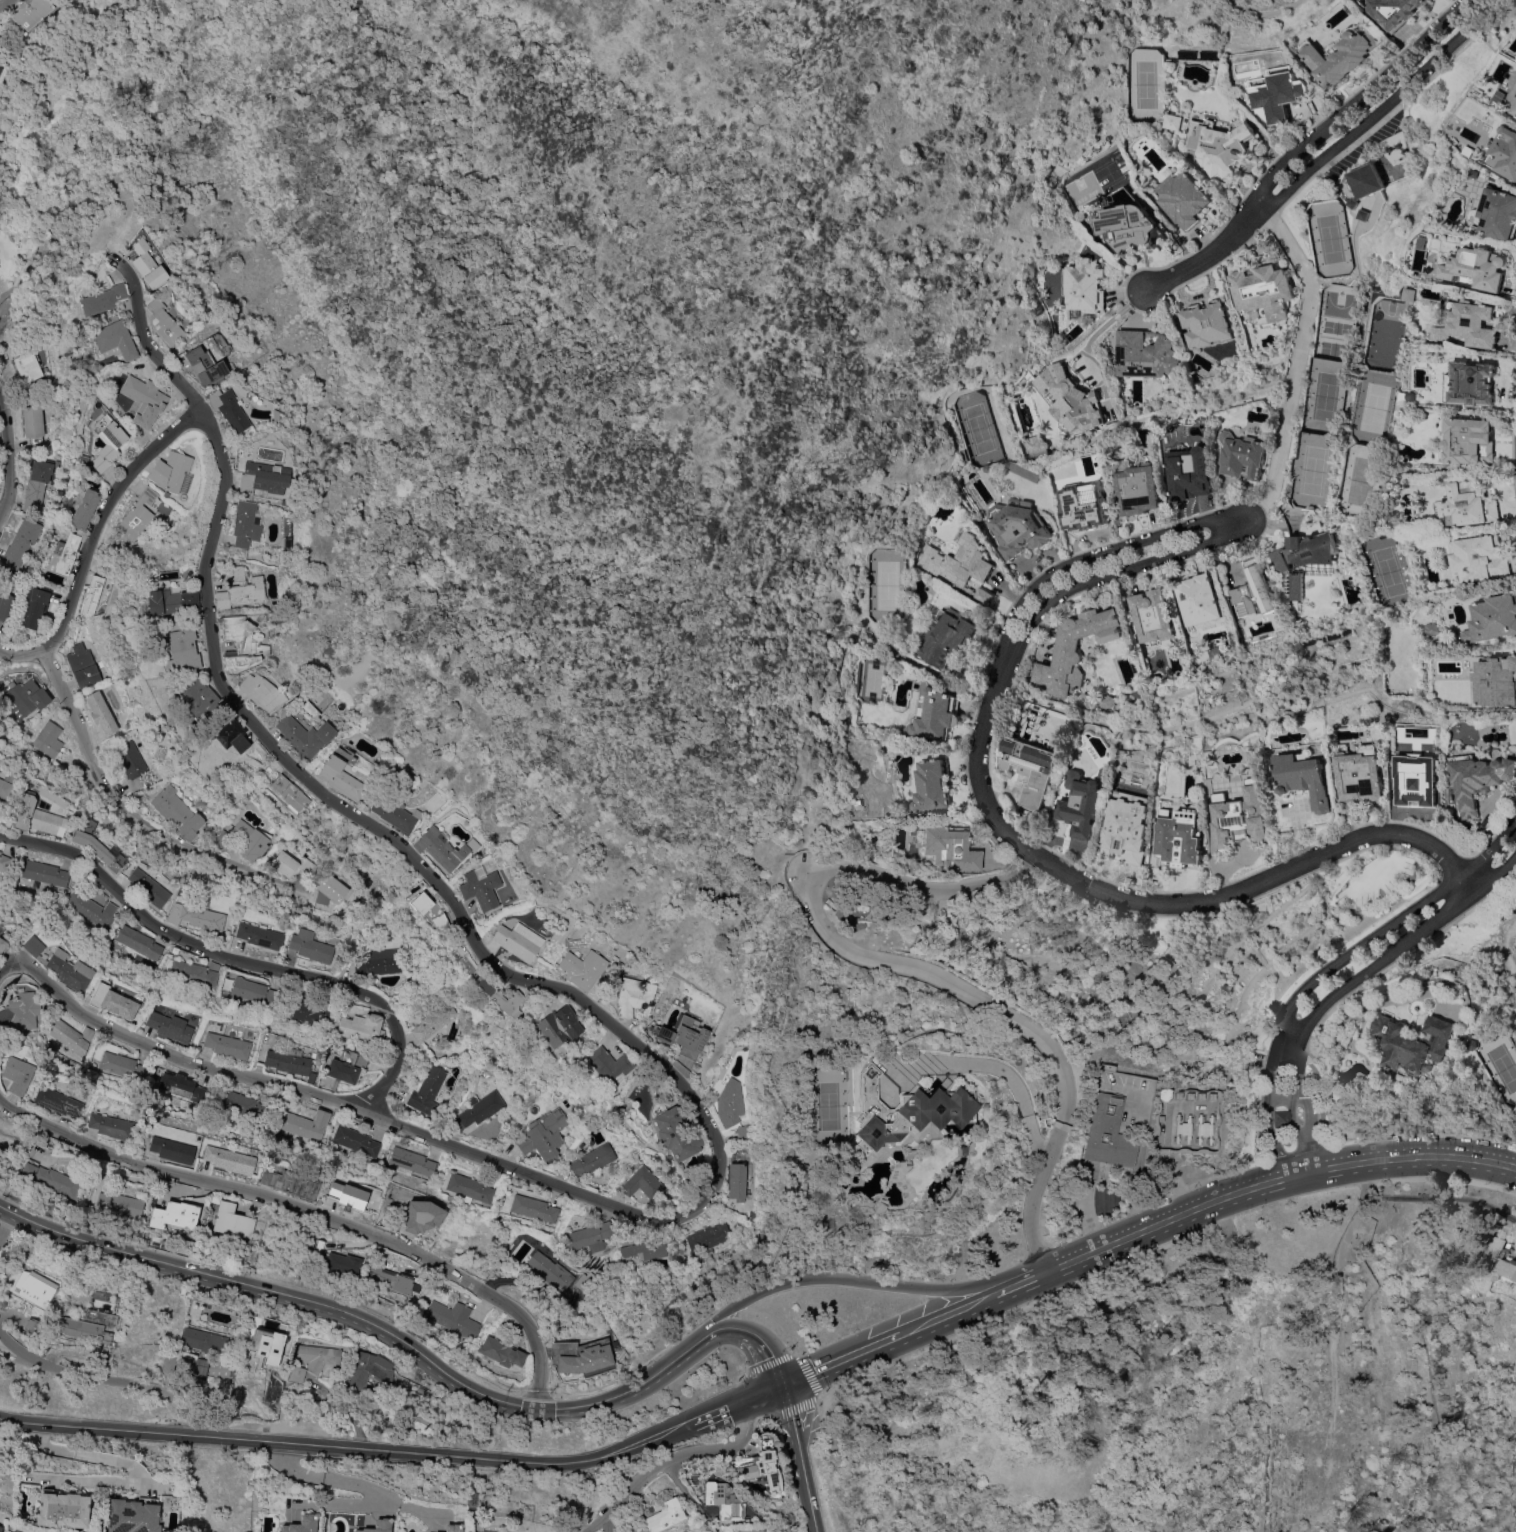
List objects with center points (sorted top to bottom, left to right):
road: (3, 3)
building: (1393, 10)
building: (31, 11)
building: (1339, 56)
building: (1277, 94)
road: (1356, 97)
building: (1515, 104)
road: (1382, 107)
building: (1515, 112)
building: (1173, 122)
building: (1218, 146)
building: (1506, 151)
building: (1367, 181)
building: (1182, 197)
building: (1355, 203)
building: (1499, 213)
building: (1365, 215)
building: (1130, 228)
road: (1205, 257)
building: (146, 264)
building: (1482, 267)
building: (1082, 287)
building: (1263, 290)
building: (1415, 294)
building: (101, 299)
road: (4, 313)
building: (163, 322)
building: (1205, 324)
building: (1473, 325)
road: (1105, 327)
building: (113, 340)
building: (1144, 356)
road: (1297, 359)
building: (200, 364)
building: (26, 366)
building: (1473, 384)
building: (139, 396)
building: (1066, 398)
building: (227, 408)
building: (274, 414)
building: (33, 424)
building: (106, 440)
building: (1470, 441)
building: (1032, 446)
road: (8, 452)
building: (963, 456)
building: (1243, 456)
building: (172, 472)
building: (1189, 473)
building: (263, 477)
building: (37, 484)
building: (1137, 486)
building: (283, 502)
building: (1469, 505)
building: (1082, 506)
building: (83, 509)
building: (138, 513)
building: (245, 523)
building: (1017, 526)
road: (94, 537)
building: (21, 542)
building: (1304, 552)
building: (66, 553)
road: (1097, 553)
building: (1481, 558)
building: (959, 565)
road: (1113, 573)
building: (240, 588)
building: (1254, 590)
building: (92, 596)
building: (1199, 600)
building: (168, 602)
building: (6, 605)
building: (34, 605)
building: (1153, 618)
building: (1492, 619)
building: (881, 626)
building: (1430, 629)
building: (946, 636)
building: (241, 643)
building: (182, 650)
building: (1075, 650)
building: (82, 665)
building: (1495, 681)
building: (1395, 690)
building: (262, 692)
building: (193, 696)
building: (27, 697)
building: (1104, 701)
building: (212, 706)
building: (100, 712)
building: (933, 714)
building: (1137, 714)
building: (304, 735)
building: (230, 736)
building: (48, 738)
building: (1253, 755)
building: (131, 763)
building: (79, 769)
building: (1031, 769)
building: (1361, 773)
building: (340, 777)
building: (1306, 778)
building: (1478, 779)
building: (1404, 784)
building: (931, 785)
building: (5, 789)
building: (288, 792)
building: (1081, 804)
building: (177, 812)
building: (395, 813)
building: (37, 816)
building: (1241, 816)
road: (134, 817)
building: (1127, 827)
road: (805, 828)
building: (1180, 837)
building: (246, 839)
building: (949, 847)
building: (443, 848)
building: (99, 849)
building: (0, 851)
building: (490, 863)
building: (292, 864)
building: (7, 865)
building: (45, 873)
building: (149, 887)
building: (481, 887)
building: (331, 889)
road: (1156, 902)
building: (427, 911)
building: (93, 912)
building: (198, 916)
building: (1, 930)
building: (260, 935)
building: (519, 940)
road: (836, 941)
building: (140, 942)
building: (3, 945)
building: (311, 945)
road: (238, 959)
building: (386, 960)
road: (1381, 961)
building: (360, 964)
building: (62, 966)
road: (1332, 966)
building: (583, 968)
building: (195, 972)
building: (251, 992)
building: (634, 995)
building: (499, 996)
building: (113, 1001)
building: (696, 1002)
building: (20, 1012)
building: (310, 1013)
building: (178, 1018)
building: (435, 1020)
road: (604, 1022)
building: (559, 1026)
building: (169, 1027)
building: (363, 1028)
building: (70, 1034)
building: (682, 1035)
building: (1417, 1043)
building: (228, 1045)
building: (1476, 1045)
building: (50, 1049)
building: (289, 1061)
building: (609, 1064)
building: (123, 1065)
building: (347, 1066)
building: (18, 1074)
building: (182, 1086)
building: (428, 1091)
building: (1163, 1094)
road: (1016, 1095)
building: (730, 1100)
building: (59, 1101)
building: (241, 1103)
building: (478, 1109)
building: (905, 1110)
building: (1280, 1117)
power substation: (1185, 1118)
building: (306, 1124)
building: (112, 1126)
building: (1183, 1128)
building: (1204, 1128)
building: (676, 1132)
building: (745, 1132)
building: (1108, 1132)
building: (544, 1134)
road: (1307, 1134)
building: (356, 1140)
building: (172, 1149)
building: (908, 1153)
road: (1418, 1156)
building: (231, 1159)
building: (594, 1159)
building: (411, 1161)
road: (1297, 1175)
building: (582, 1176)
building: (51, 1178)
building: (737, 1182)
building: (291, 1183)
building: (644, 1183)
road: (1259, 1186)
building: (471, 1188)
road: (1032, 1193)
road: (1230, 1195)
building: (349, 1196)
road: (1429, 1197)
building: (121, 1203)
building: (534, 1208)
building: (177, 1214)
road: (306, 1214)
building: (422, 1215)
building: (233, 1220)
road: (1127, 1231)
building: (590, 1236)
building: (709, 1237)
building: (188, 1241)
building: (644, 1250)
building: (1492, 1250)
building: (343, 1263)
building: (1507, 1268)
building: (550, 1269)
road: (1019, 1275)
road: (846, 1278)
building: (392, 1279)
building: (584, 1282)
building: (38, 1291)
road: (947, 1306)
building: (196, 1307)
building: (454, 1318)
road: (364, 1321)
building: (93, 1322)
building: (33, 1325)
road: (757, 1336)
building: (204, 1340)
building: (264, 1344)
building: (501, 1351)
road: (839, 1354)
building: (583, 1355)
building: (318, 1356)
building: (200, 1368)
building: (220, 1369)
building: (369, 1370)
building: (296, 1373)
road: (109, 1378)
traffic signals: (782, 1380)
building: (421, 1389)
road: (741, 1397)
road: (790, 1414)
road: (354, 1448)
road: (667, 1457)
road: (123, 1464)
building: (761, 1466)
road: (355, 1483)
road: (809, 1490)
road: (689, 1498)
building: (721, 1499)
road: (334, 1504)
building: (62, 1510)
building: (662, 1515)
building: (132, 1516)
building: (302, 1524)
building: (378, 1525)
building: (453, 1527)
building: (0, 1528)
building: (481, 1528)
building: (549, 1530)
building: (749, 1530)

